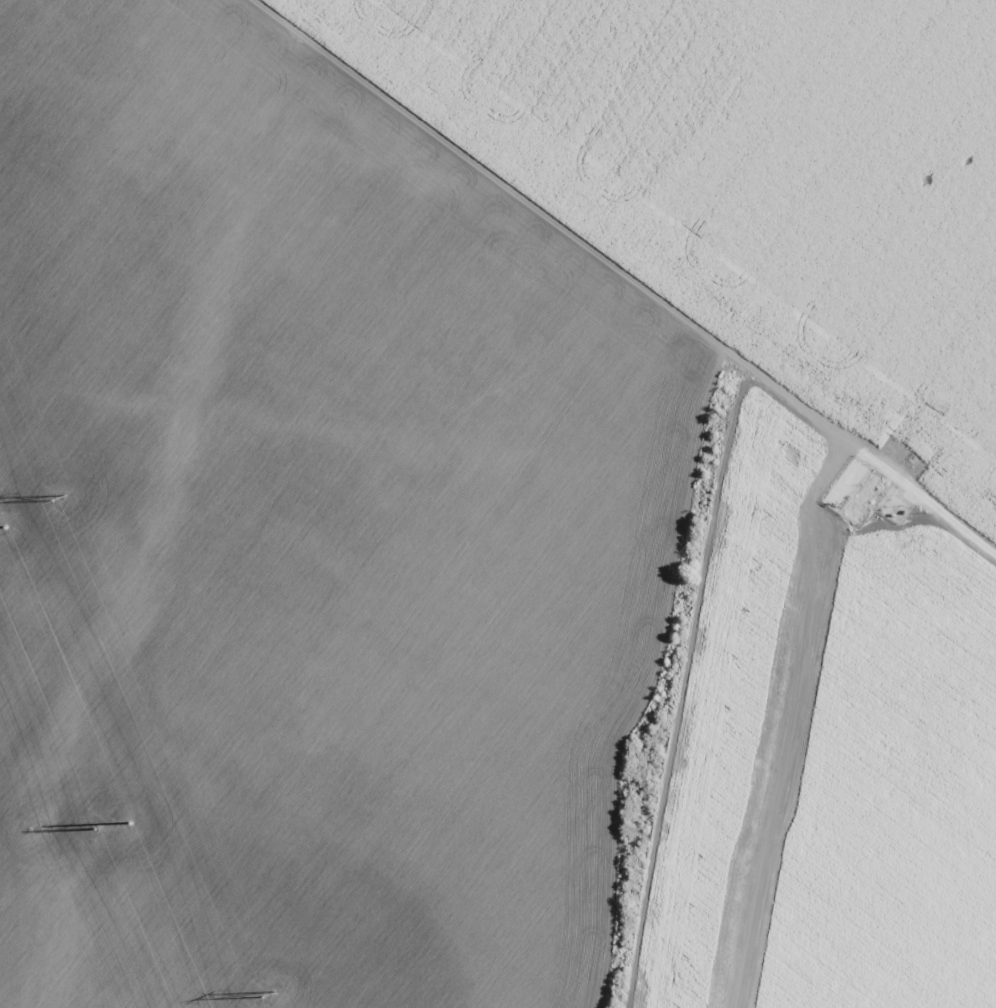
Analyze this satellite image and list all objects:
power tower: (56, 498)
crop: (498, 504)
power tower: (1, 520)
power tower: (124, 813)
power tower: (93, 830)
power tower: (264, 993)

